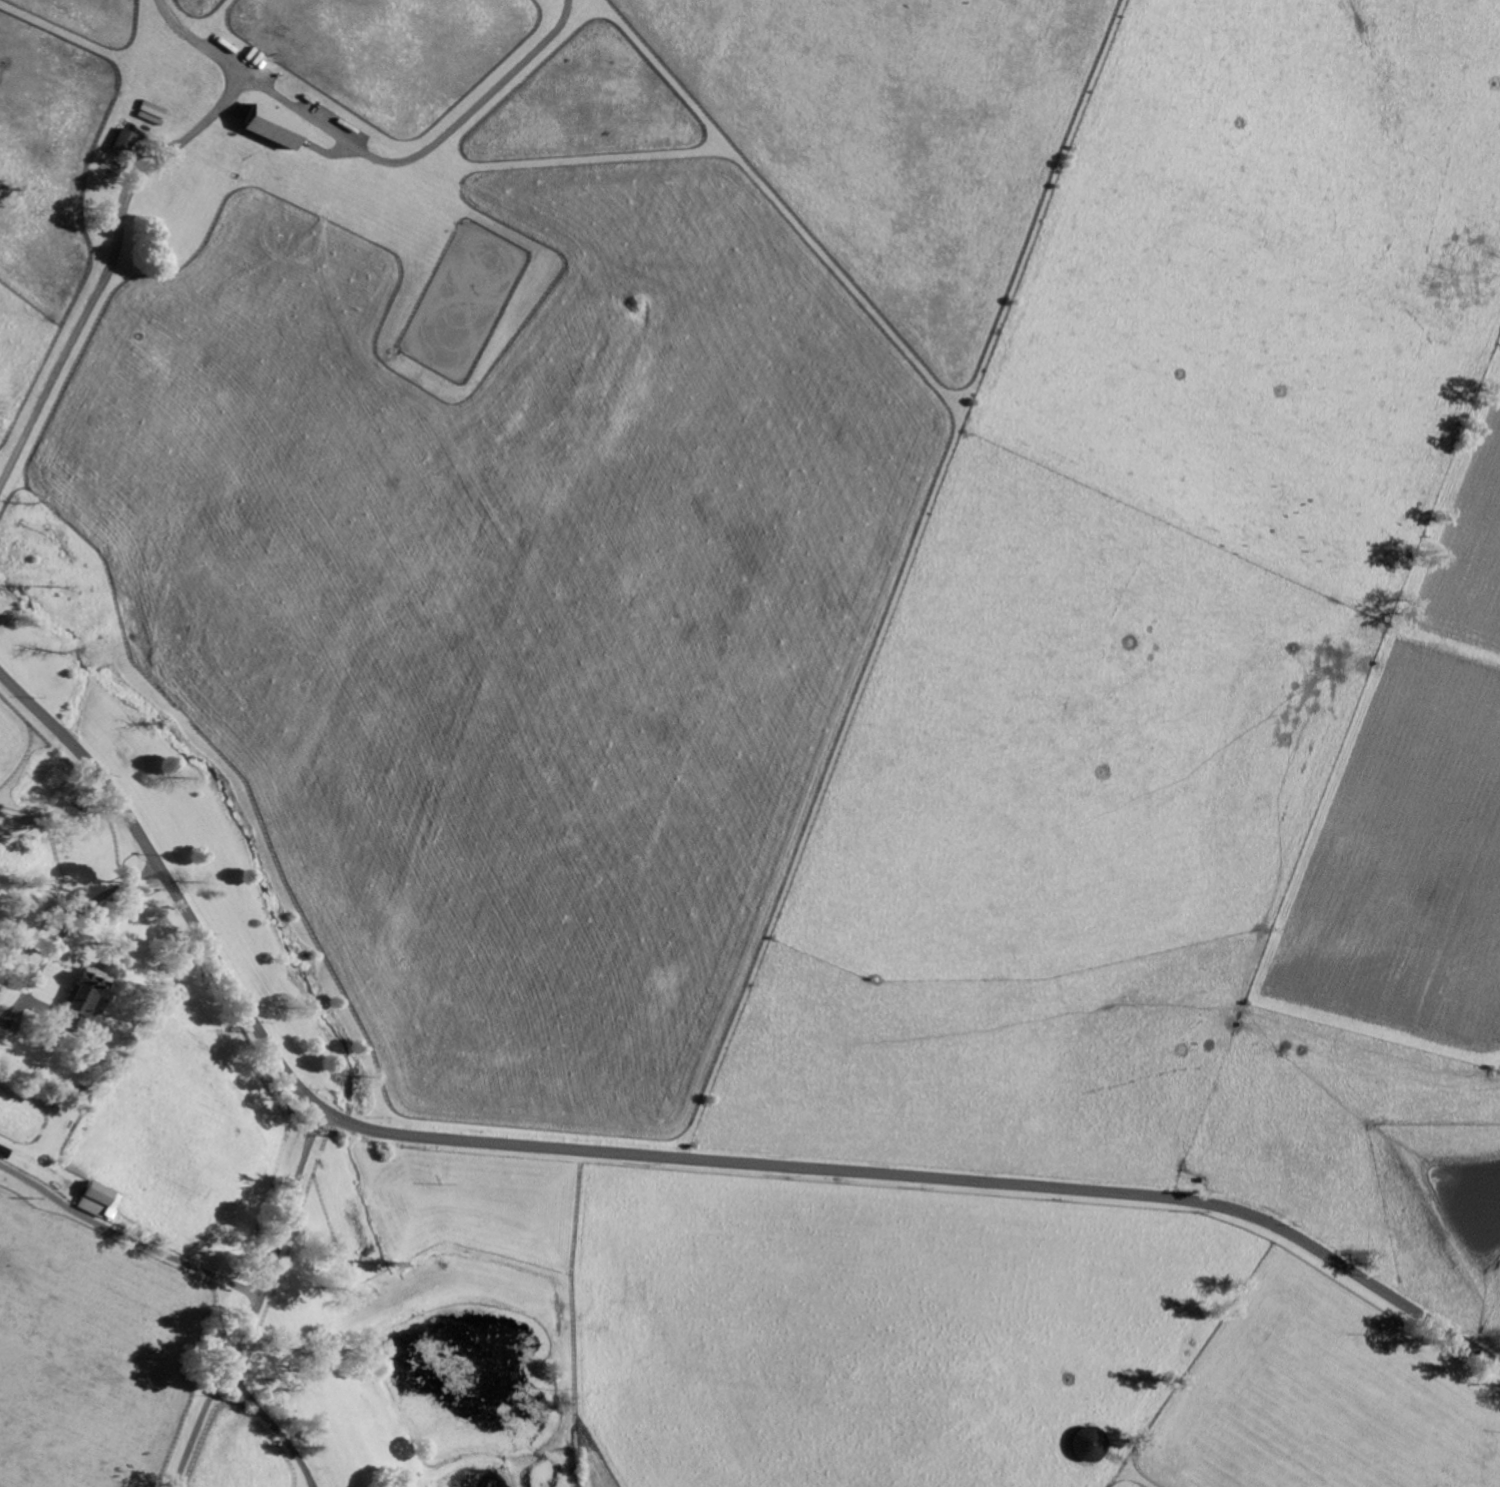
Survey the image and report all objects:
building: (276, 127)
building: (125, 141)
road: (427, 153)
road: (120, 216)
road: (68, 926)
building: (88, 989)
road: (658, 1154)
road: (31, 1161)
building: (100, 1199)
road: (129, 1238)
road: (264, 1302)
road: (275, 1431)

